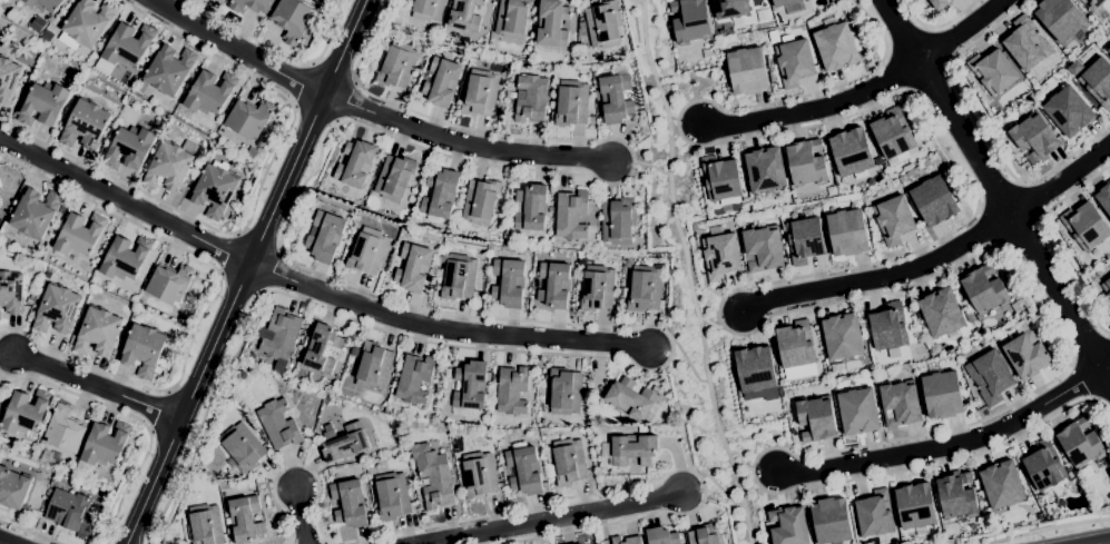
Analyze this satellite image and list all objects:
building: (952, 0)
building: (220, 1)
building: (783, 2)
road: (637, 3)
building: (939, 3)
building: (45, 4)
building: (1093, 4)
building: (249, 6)
building: (729, 9)
building: (429, 10)
building: (464, 14)
road: (912, 14)
building: (16, 16)
building: (1060, 18)
building: (292, 19)
building: (512, 19)
road: (953, 19)
building: (689, 20)
building: (88, 22)
building: (552, 23)
building: (38, 24)
building: (581, 26)
building: (602, 26)
road: (959, 29)
road: (330, 31)
road: (249, 36)
building: (47, 37)
building: (128, 44)
building: (1026, 44)
building: (836, 47)
road: (238, 49)
building: (1109, 50)
building: (794, 62)
building: (396, 65)
building: (169, 70)
building: (747, 71)
building: (993, 72)
building: (8, 79)
building: (73, 79)
building: (441, 81)
building: (1099, 82)
road: (957, 83)
road: (301, 86)
building: (210, 92)
building: (480, 93)
building: (616, 96)
building: (531, 99)
building: (571, 103)
building: (42, 105)
building: (1068, 111)
road: (817, 112)
road: (672, 116)
building: (249, 118)
building: (85, 125)
building: (893, 135)
building: (1034, 138)
road: (463, 145)
road: (709, 146)
building: (129, 148)
building: (252, 152)
building: (852, 152)
road: (1069, 157)
building: (355, 164)
building: (806, 164)
building: (169, 166)
road: (650, 167)
building: (765, 170)
building: (393, 178)
building: (721, 178)
road: (1061, 179)
building: (214, 188)
road: (996, 189)
building: (440, 195)
building: (1104, 198)
road: (256, 199)
building: (480, 201)
building: (933, 201)
road: (125, 205)
building: (531, 208)
building: (35, 212)
road: (112, 212)
building: (571, 215)
building: (894, 220)
building: (618, 221)
building: (1086, 226)
building: (847, 233)
building: (79, 235)
building: (324, 237)
building: (805, 240)
road: (1048, 243)
building: (763, 249)
building: (366, 251)
building: (720, 256)
building: (125, 258)
building: (413, 267)
road: (245, 271)
road: (687, 271)
road: (881, 276)
building: (1093, 277)
building: (458, 278)
building: (169, 283)
building: (509, 283)
building: (553, 285)
building: (1107, 287)
building: (597, 288)
building: (645, 289)
building: (984, 290)
building: (11, 293)
road: (406, 303)
building: (57, 310)
building: (941, 313)
road: (711, 325)
building: (888, 327)
road: (444, 329)
building: (97, 332)
building: (281, 335)
road: (1109, 336)
building: (843, 337)
building: (796, 344)
building: (322, 348)
building: (143, 350)
building: (354, 352)
building: (1026, 355)
building: (252, 356)
road: (688, 364)
road: (1070, 364)
building: (373, 366)
road: (1107, 367)
building: (755, 369)
building: (990, 377)
building: (414, 378)
building: (470, 385)
road: (141, 386)
road: (100, 388)
building: (512, 390)
building: (566, 392)
road: (73, 393)
building: (942, 395)
building: (636, 400)
building: (900, 404)
building: (26, 412)
building: (857, 412)
building: (816, 419)
building: (278, 424)
building: (65, 431)
building: (344, 443)
building: (106, 444)
building: (1080, 444)
road: (947, 445)
building: (243, 447)
building: (630, 448)
road: (741, 461)
building: (568, 463)
building: (1043, 466)
building: (524, 471)
building: (479, 475)
building: (433, 476)
road: (128, 484)
building: (1002, 485)
building: (12, 488)
road: (719, 488)
building: (1058, 492)
building: (955, 495)
building: (392, 496)
building: (350, 503)
road: (537, 506)
building: (915, 506)
building: (67, 510)
building: (336, 511)
building: (874, 514)
road: (301, 515)
road: (546, 518)
building: (245, 520)
building: (831, 521)
building: (205, 525)
building: (788, 526)
road: (1047, 528)
road: (29, 533)
building: (705, 535)
building: (661, 536)
road: (8, 541)
building: (627, 541)
road: (1106, 543)

